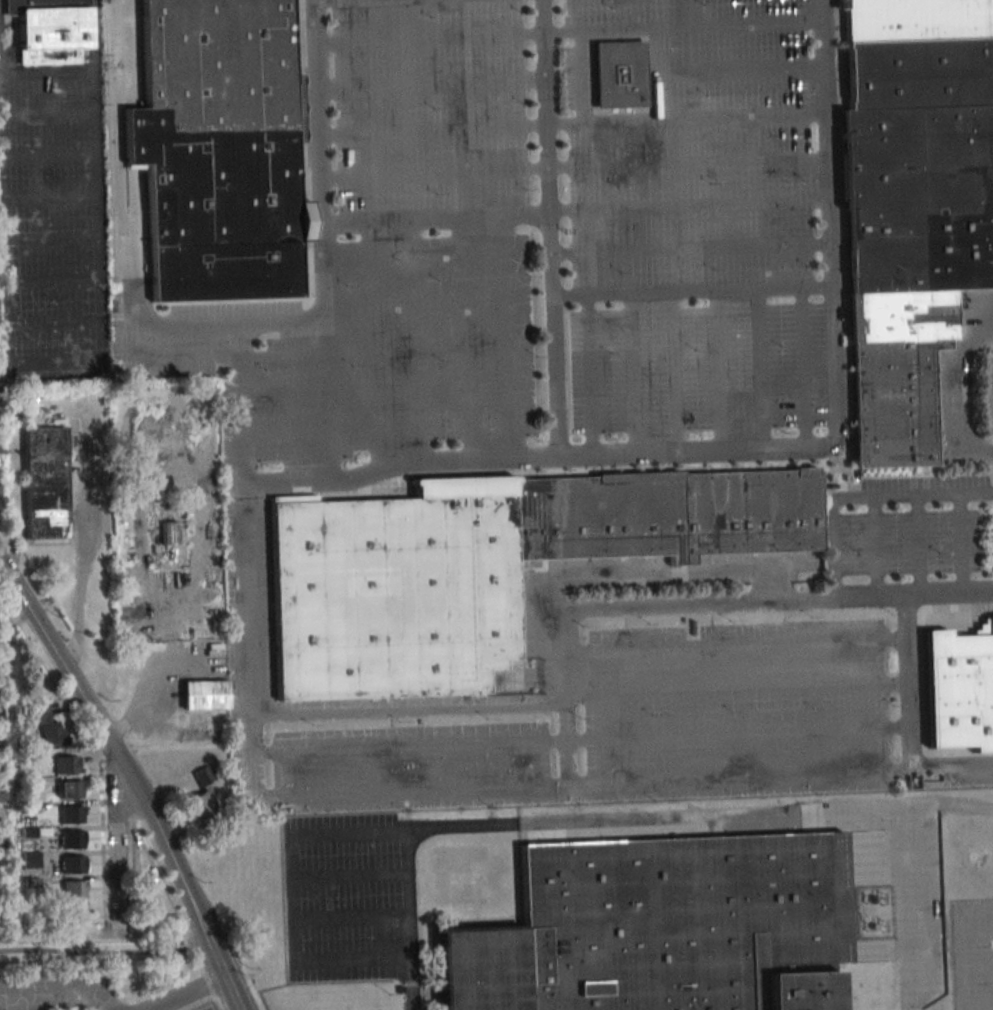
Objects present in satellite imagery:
building: (916, 20)
road: (684, 24)
building: (48, 30)
road: (429, 40)
road: (742, 71)
road: (658, 73)
road: (58, 74)
building: (617, 74)
road: (581, 75)
building: (920, 75)
parking lot: (575, 77)
road: (430, 85)
parking lot: (430, 106)
road: (315, 111)
road: (687, 120)
road: (431, 131)
parking lot: (698, 148)
building: (218, 151)
road: (119, 163)
road: (688, 164)
road: (433, 174)
road: (689, 207)
road: (435, 220)
road: (550, 228)
road: (691, 249)
building: (912, 265)
road: (692, 293)
road: (991, 317)
road: (304, 321)
road: (145, 326)
road: (507, 339)
road: (464, 340)
road: (417, 341)
road: (373, 346)
parking lot: (359, 352)
road: (324, 353)
parking lot: (695, 370)
road: (802, 371)
road: (758, 372)
road: (716, 373)
road: (672, 374)
road: (632, 375)
road: (587, 376)
road: (963, 379)
parking lot: (988, 390)
road: (758, 453)
road: (982, 453)
building: (43, 483)
road: (860, 496)
building: (168, 532)
parking lot: (910, 540)
road: (958, 544)
road: (917, 545)
road: (874, 547)
road: (81, 557)
building: (486, 569)
road: (767, 602)
road: (734, 645)
road: (50, 678)
road: (736, 685)
building: (204, 695)
building: (956, 695)
road: (407, 705)
parking lot: (736, 710)
road: (909, 724)
building: (46, 726)
road: (580, 739)
road: (115, 751)
building: (65, 764)
parking lot: (412, 767)
road: (651, 782)
road: (116, 787)
building: (70, 789)
building: (201, 797)
road: (253, 799)
building: (71, 814)
road: (666, 820)
road: (115, 837)
building: (73, 839)
building: (31, 860)
building: (73, 864)
road: (350, 876)
road: (160, 882)
building: (73, 889)
road: (293, 897)
parking lot: (341, 898)
building: (74, 912)
road: (351, 918)
building: (660, 928)
road: (95, 949)
parking lot: (972, 954)
road: (205, 978)
road: (225, 979)
road: (187, 993)
road: (410, 996)
parking lot: (208, 1009)

